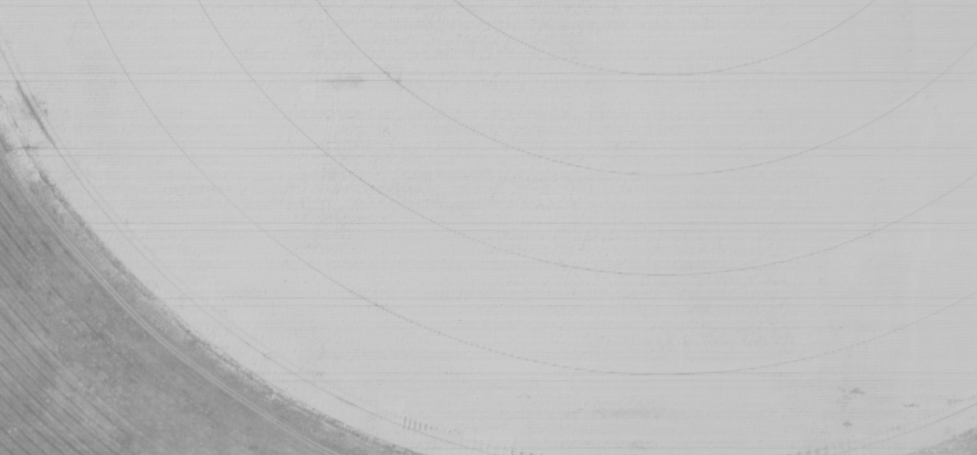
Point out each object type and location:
crop: (488, 227)

